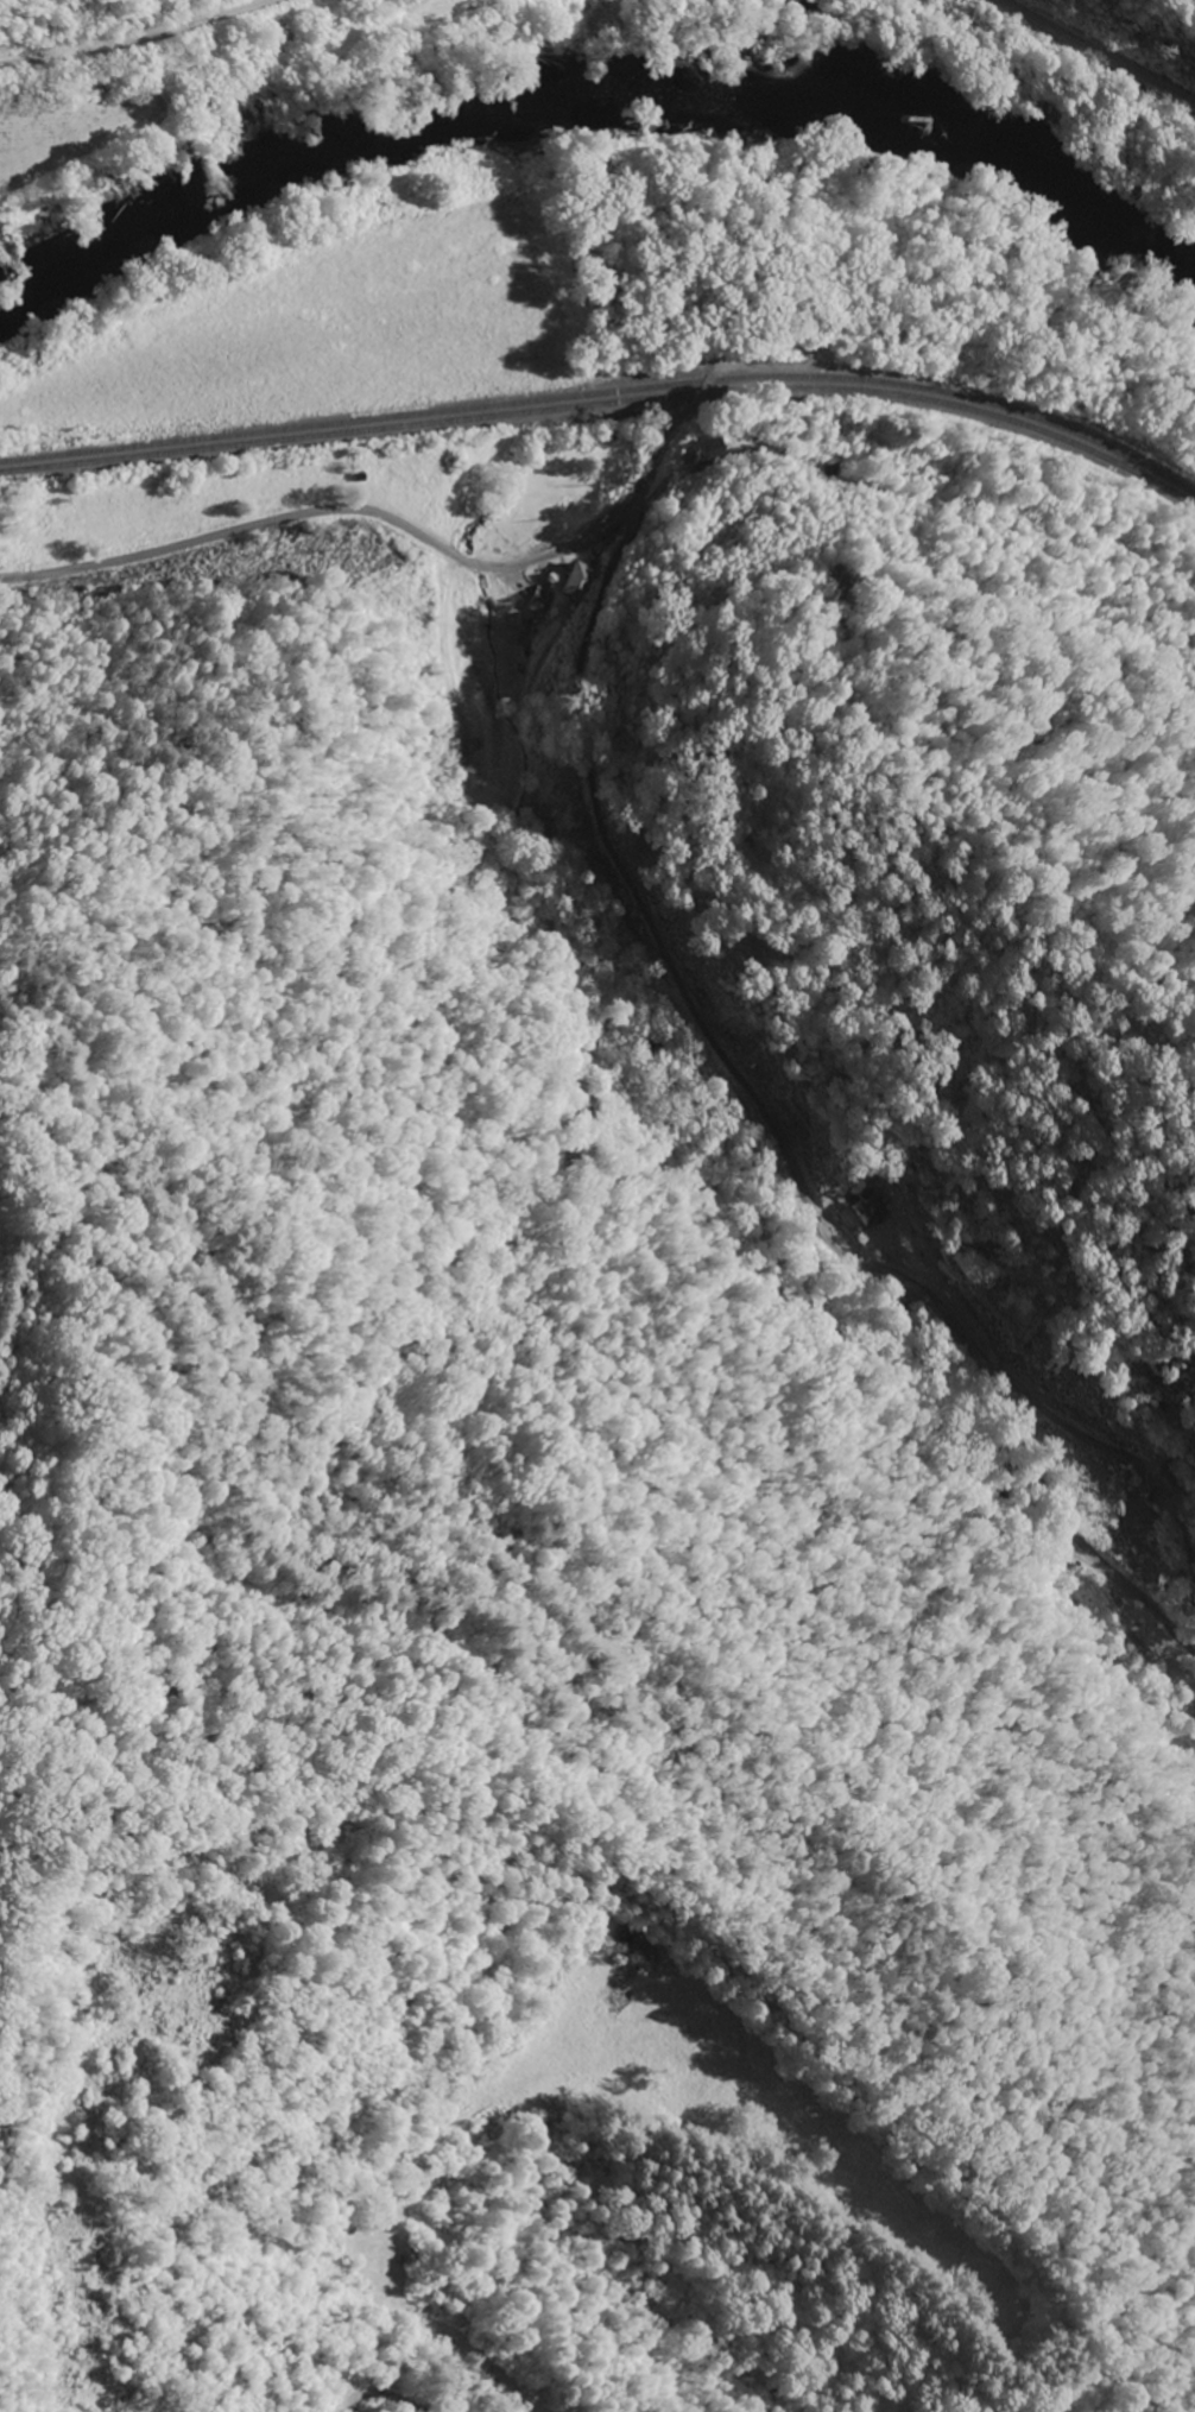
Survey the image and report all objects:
road: (139, 36)
road: (1098, 53)
river: (603, 111)
railway: (607, 394)
railway: (607, 404)
road: (656, 457)
road: (328, 513)
road: (924, 526)
building: (540, 601)
road: (783, 1132)
building: (867, 1210)
building: (1163, 1482)
building: (1193, 1720)

